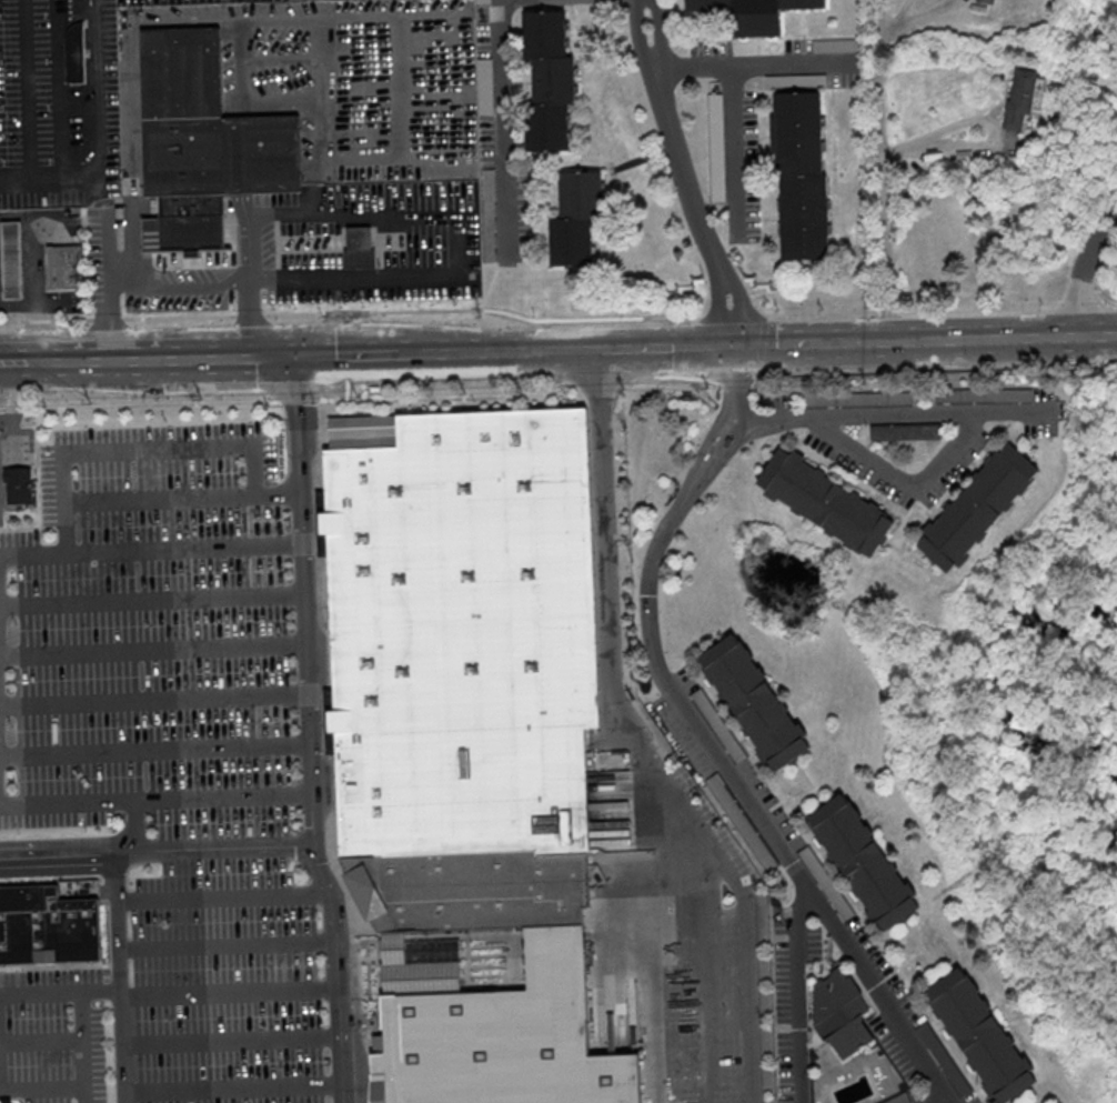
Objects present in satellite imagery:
building: (988, 1)
building: (697, 4)
building: (836, 44)
road: (318, 46)
building: (74, 52)
road: (758, 64)
building: (550, 80)
building: (1022, 99)
road: (28, 102)
road: (505, 113)
road: (94, 119)
road: (986, 121)
road: (676, 139)
building: (203, 140)
road: (737, 149)
road: (447, 152)
building: (718, 166)
road: (887, 172)
building: (803, 174)
building: (576, 218)
building: (359, 247)
building: (12, 260)
building: (66, 265)
road: (36, 273)
road: (723, 275)
road: (249, 278)
road: (1086, 278)
road: (381, 279)
road: (1003, 343)
road: (821, 348)
road: (746, 350)
road: (574, 351)
road: (663, 351)
road: (733, 351)
traffic signals: (738, 351)
road: (506, 353)
road: (431, 354)
road: (341, 355)
road: (391, 355)
road: (272, 357)
traffic signals: (299, 357)
road: (191, 358)
road: (85, 360)
road: (17, 361)
road: (598, 383)
building: (985, 397)
road: (496, 398)
building: (857, 399)
road: (11, 403)
road: (895, 414)
building: (914, 432)
road: (155, 444)
building: (19, 484)
road: (904, 485)
road: (158, 497)
building: (825, 502)
building: (978, 507)
road: (153, 596)
road: (0, 598)
road: (153, 649)
building: (462, 663)
river: (994, 671)
road: (154, 702)
building: (755, 703)
building: (721, 726)
road: (309, 731)
road: (711, 745)
road: (154, 749)
road: (661, 765)
building: (724, 794)
road: (198, 803)
building: (755, 841)
river: (1113, 846)
road: (215, 854)
road: (58, 858)
building: (863, 863)
building: (827, 884)
road: (222, 896)
building: (48, 926)
road: (228, 943)
road: (647, 951)
road: (703, 962)
road: (121, 980)
road: (230, 989)
road: (801, 994)
building: (841, 1013)
building: (493, 1020)
road: (2, 1031)
building: (980, 1036)
road: (232, 1039)
road: (81, 1041)
building: (944, 1059)
road: (233, 1086)
building: (900, 1099)
road: (940, 1100)

